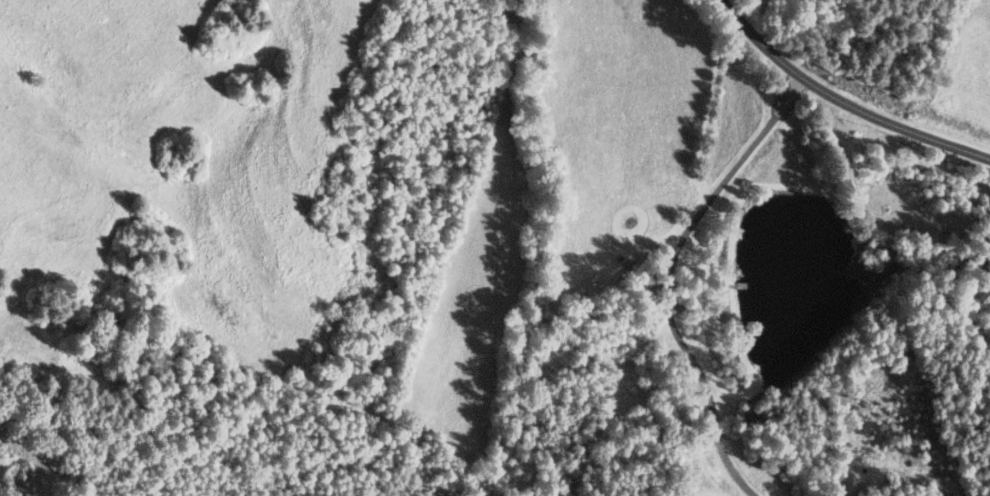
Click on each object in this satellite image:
road: (843, 96)
road: (668, 274)
road: (904, 475)

